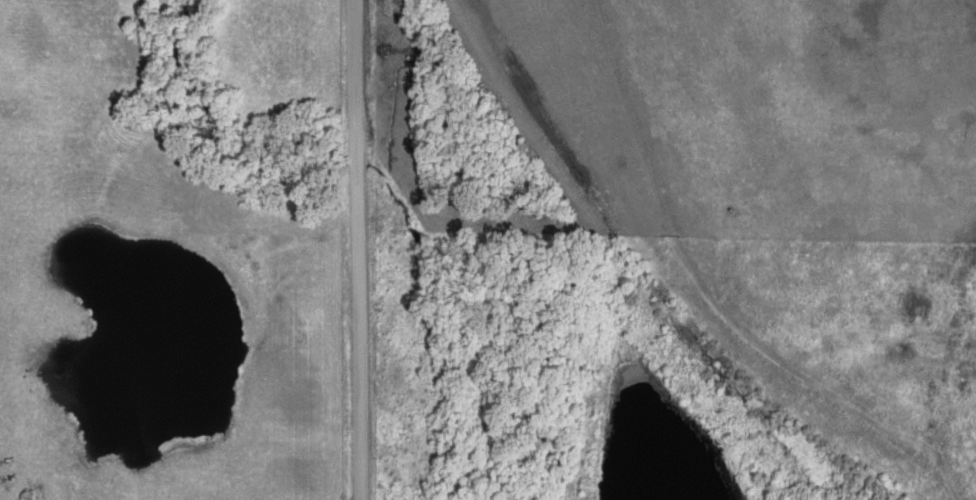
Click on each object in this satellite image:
road: (360, 249)

